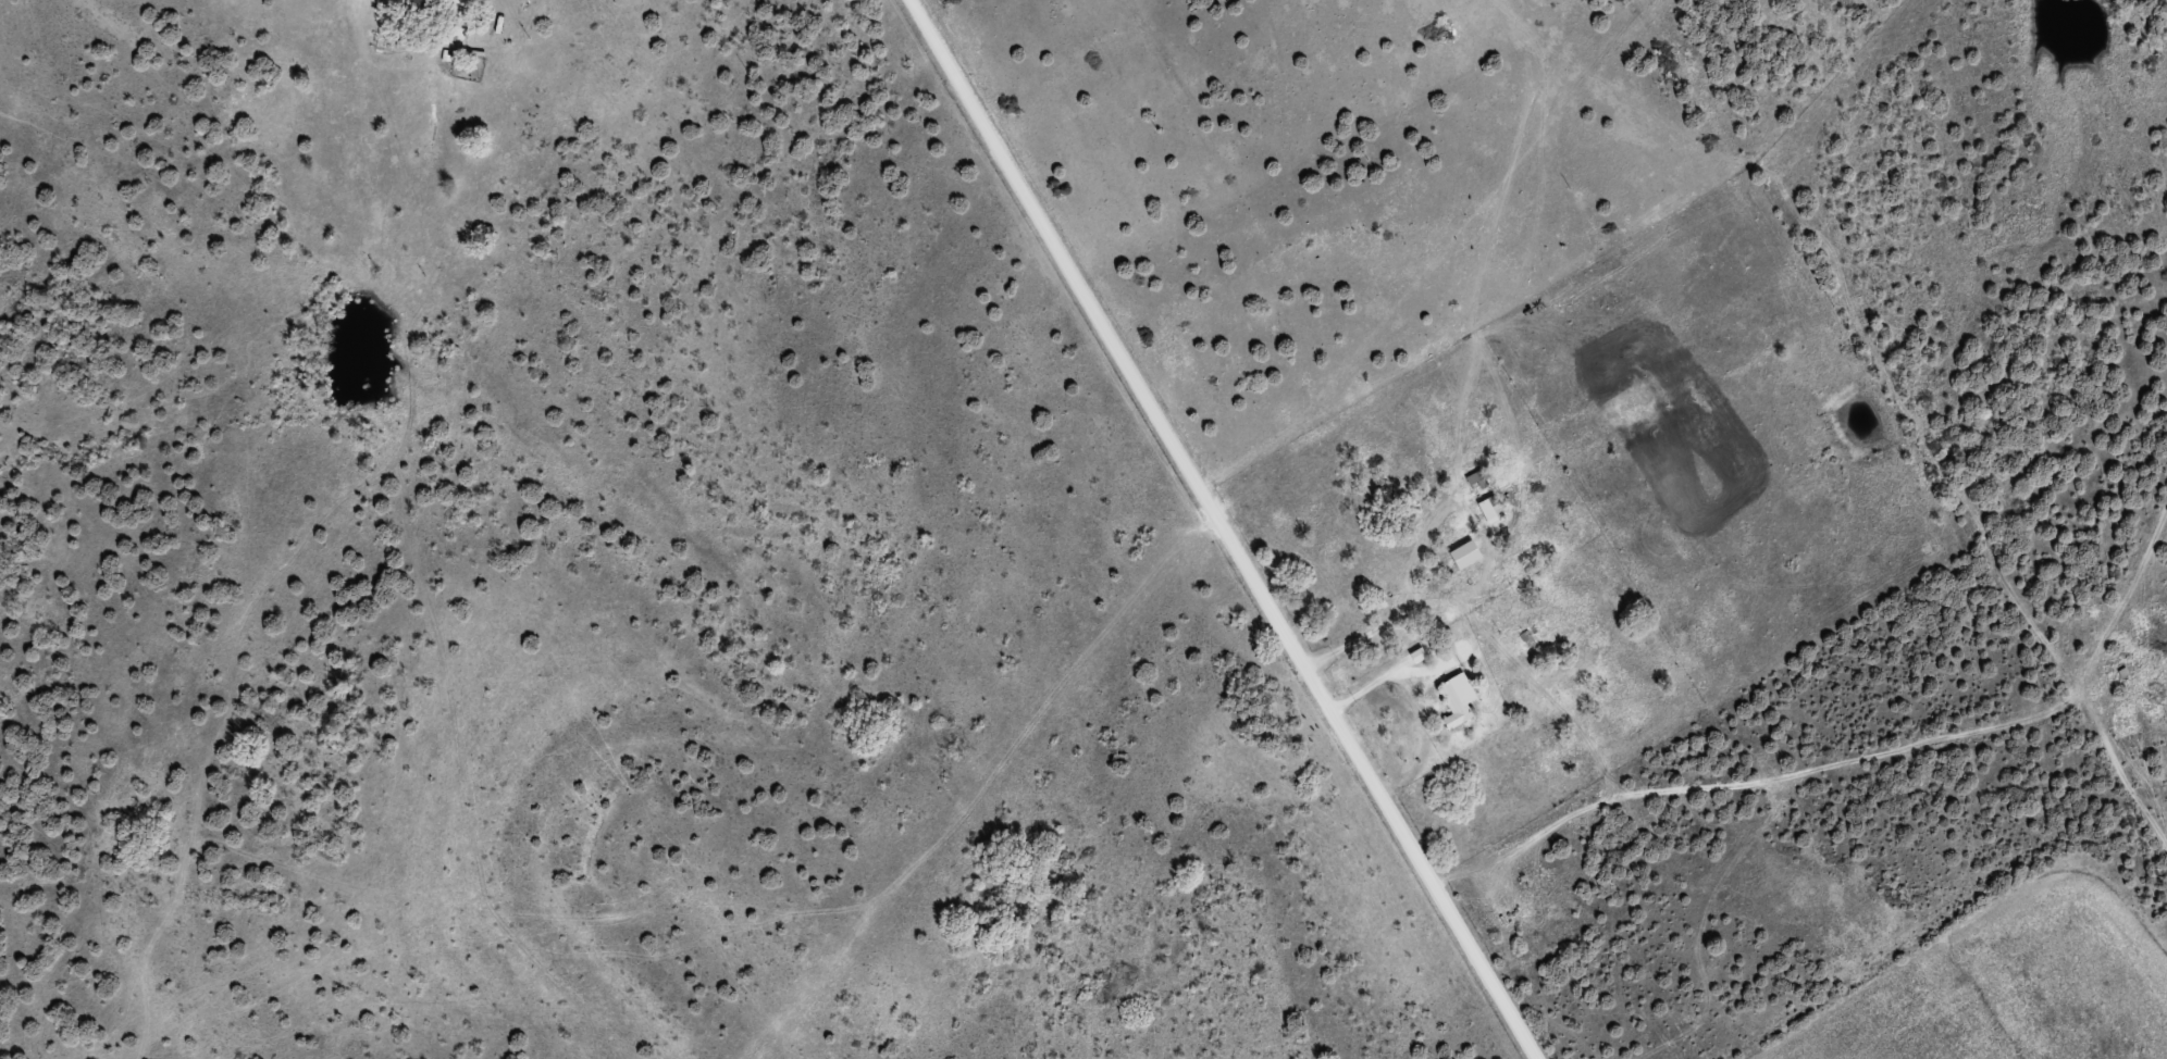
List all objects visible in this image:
building: (424, 2)
building: (1477, 479)
building: (1493, 508)
road: (1227, 529)
building: (1456, 702)

